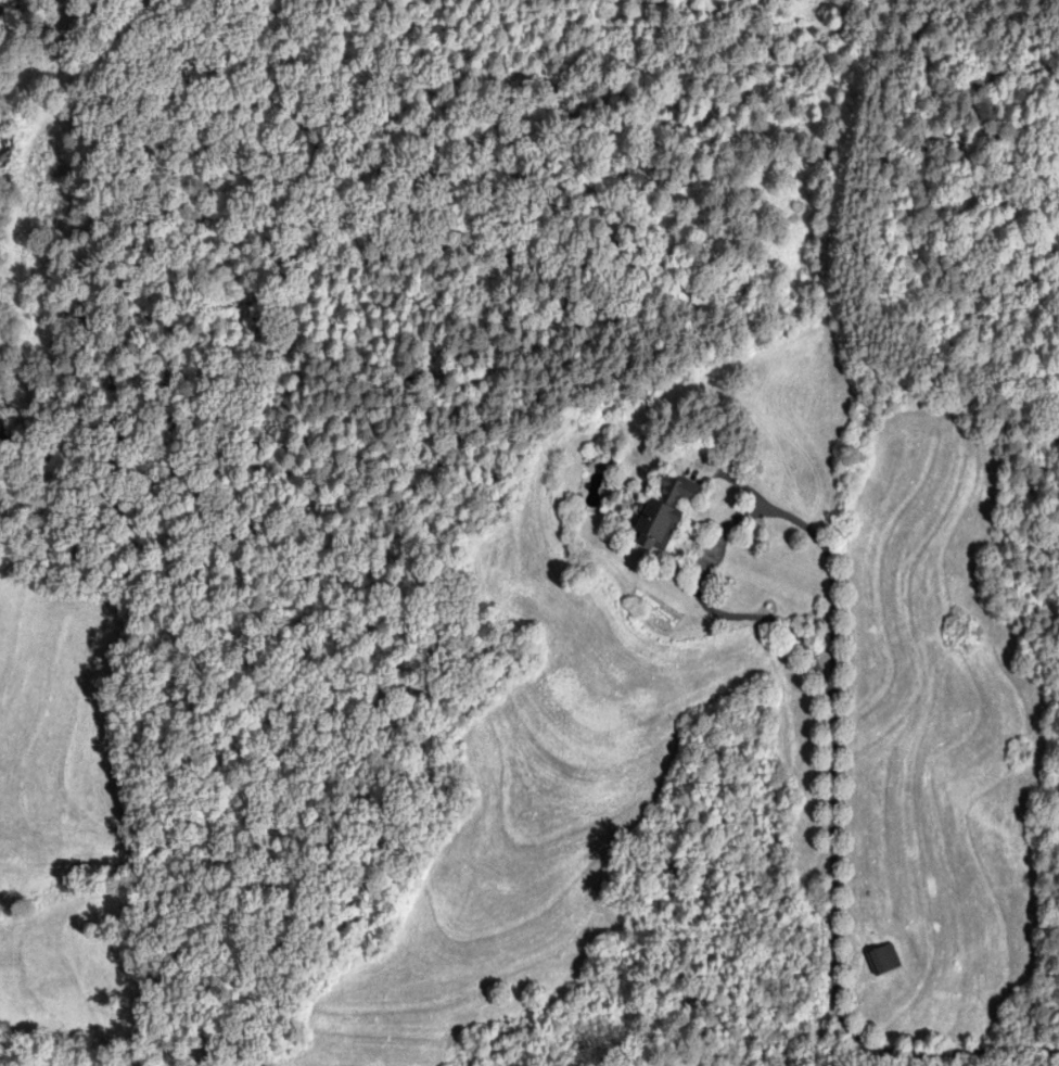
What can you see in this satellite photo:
building: (663, 512)
road: (728, 522)
building: (882, 960)
road: (833, 970)

